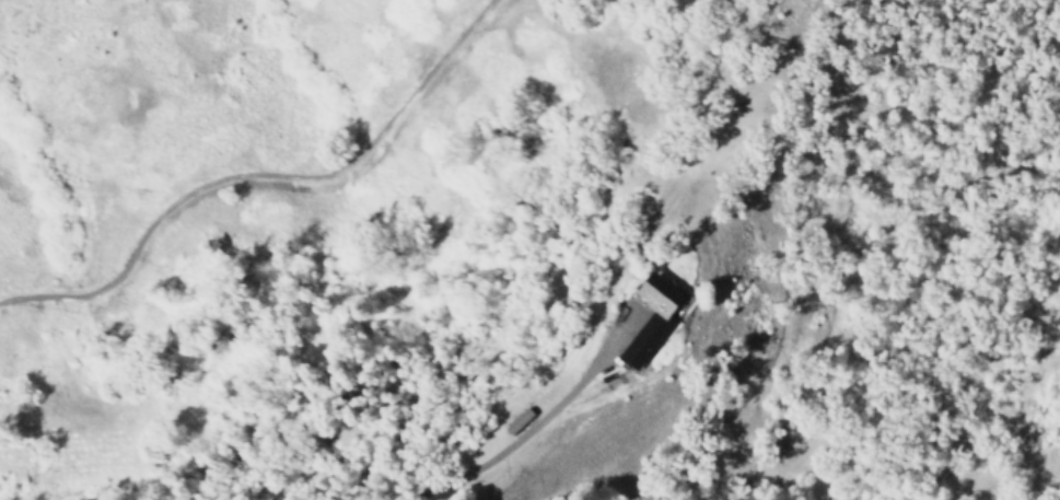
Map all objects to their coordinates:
road: (263, 175)
road: (664, 211)
building: (650, 319)
road: (529, 429)

